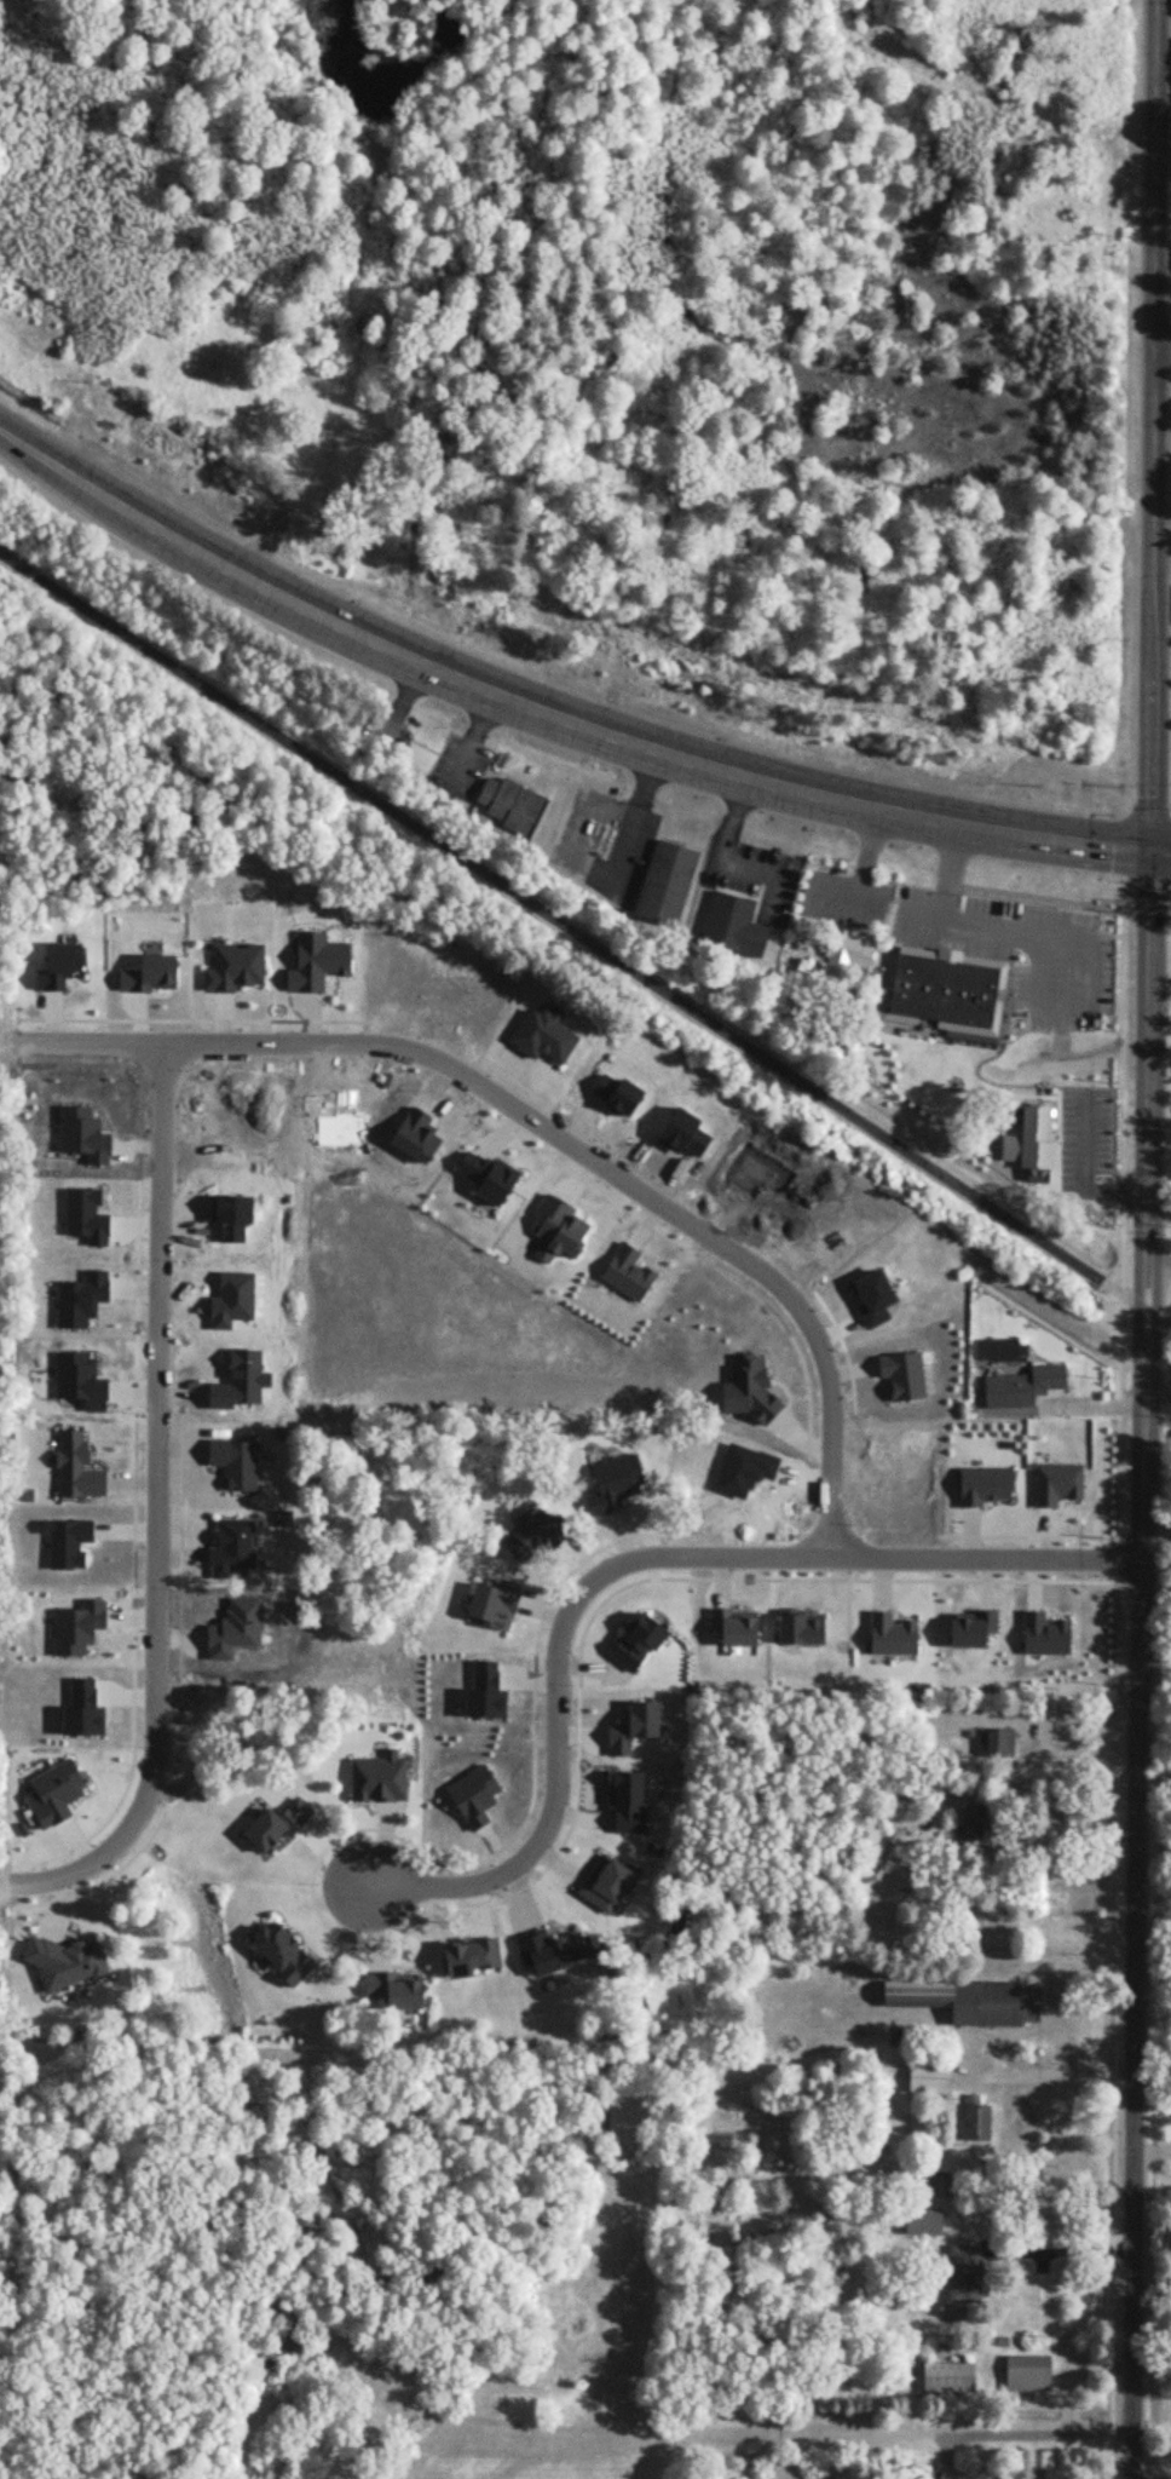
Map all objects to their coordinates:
road: (1165, 346)
road: (1164, 602)
road: (403, 694)
road: (550, 712)
road: (392, 730)
parking lot: (382, 736)
road: (469, 738)
parking lot: (460, 765)
road: (1161, 804)
road: (1170, 804)
building: (512, 805)
road: (736, 822)
road: (636, 826)
traffic signals: (1153, 852)
road: (1161, 852)
road: (867, 857)
road: (954, 875)
parking lot: (752, 876)
road: (772, 878)
building: (665, 882)
parking lot: (844, 899)
road: (843, 902)
building: (732, 925)
road: (584, 938)
road: (1079, 941)
building: (843, 947)
parking lot: (1023, 951)
road: (808, 987)
building: (942, 991)
building: (576, 1022)
road: (967, 1105)
road: (558, 1133)
building: (579, 1137)
building: (1034, 1140)
building: (651, 1150)
road: (1112, 1186)
road: (1142, 1238)
road: (1156, 1265)
road: (1046, 1308)
building: (913, 1336)
building: (1008, 1391)
road: (1155, 1394)
road: (161, 1508)
road: (846, 1558)
road: (79, 1675)
building: (994, 1742)
road: (1073, 1753)
road: (558, 1756)
road: (1065, 1835)
road: (439, 1885)
building: (964, 2001)
building: (929, 2077)
building: (975, 2119)
building: (922, 2224)
road: (1062, 2245)
building: (962, 2274)
building: (1026, 2374)
building: (947, 2377)
road: (1026, 2432)
road: (1156, 2477)

